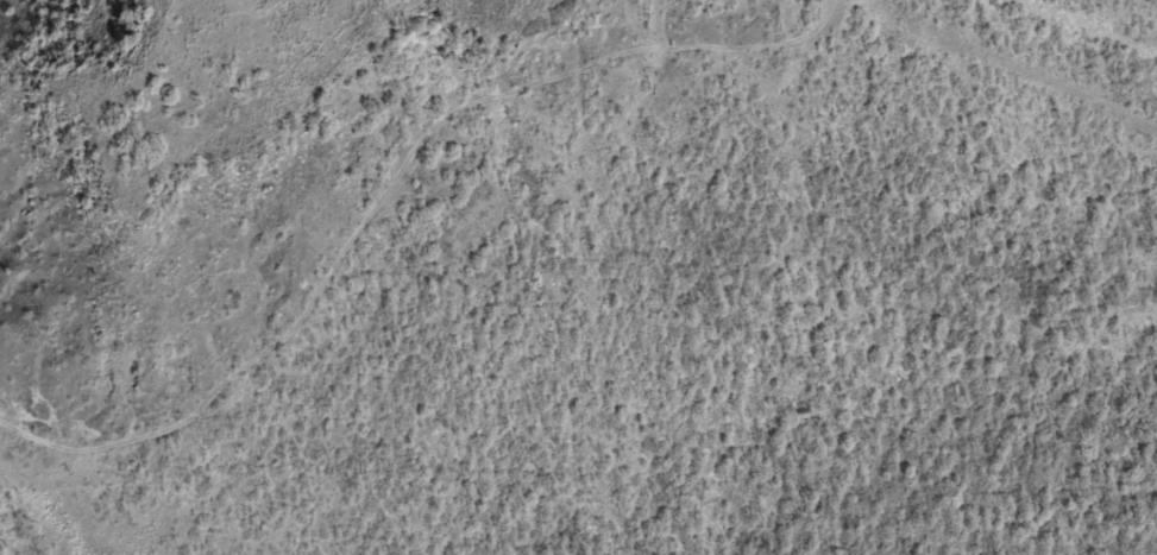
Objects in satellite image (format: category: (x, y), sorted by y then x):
road: (1015, 145)

